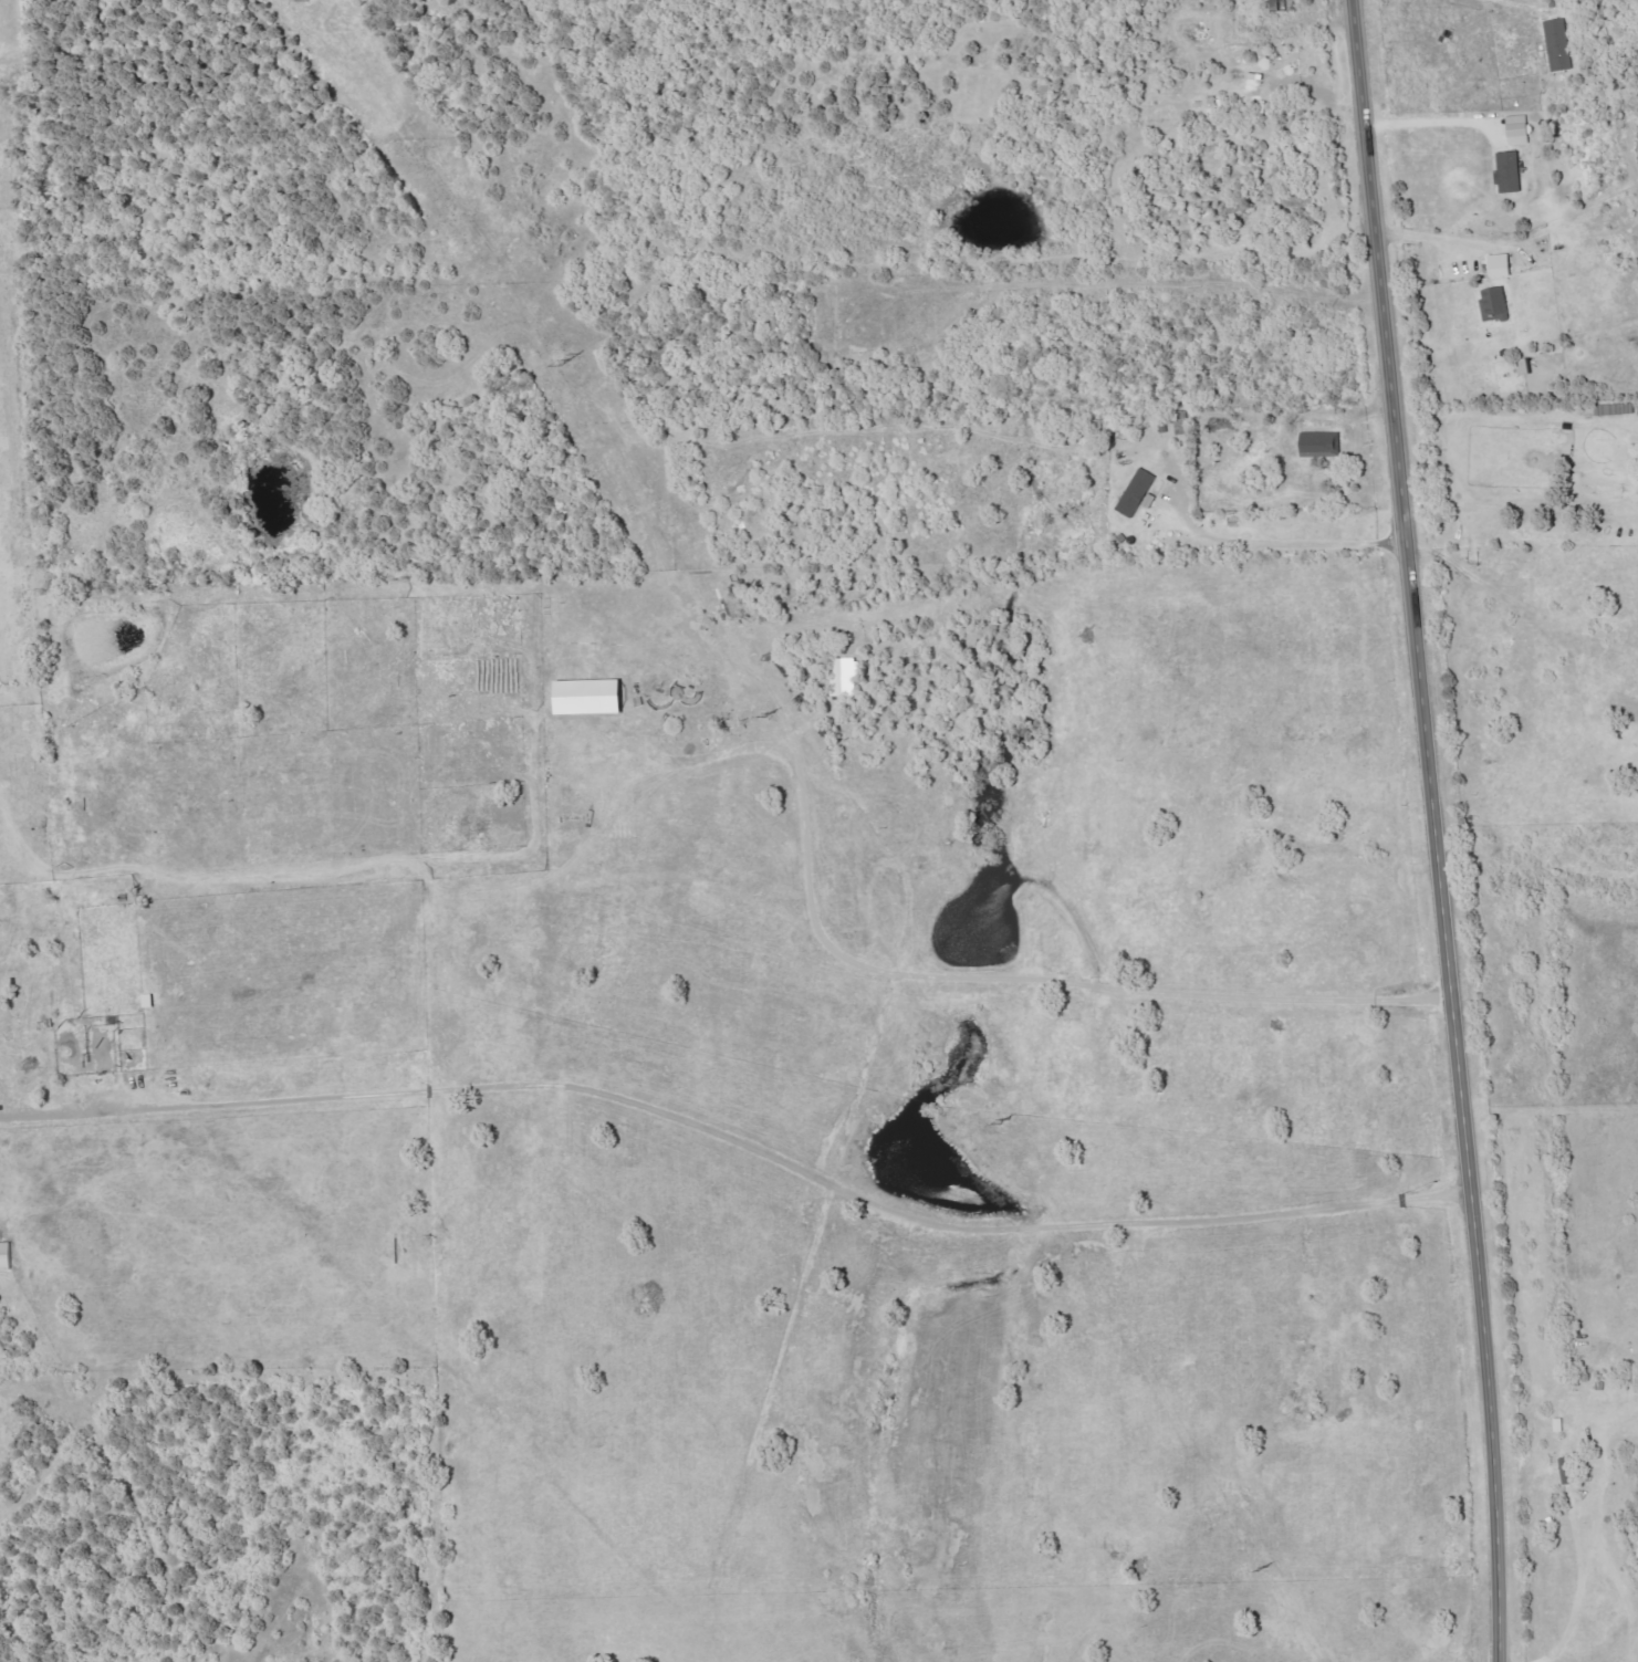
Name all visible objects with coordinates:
road: (1509, 1)
building: (1559, 44)
road: (1431, 122)
building: (1519, 129)
building: (1511, 171)
road: (1431, 243)
building: (1501, 264)
building: (1494, 302)
power tower: (568, 358)
building: (1321, 443)
building: (1137, 492)
road: (1520, 514)
road: (1276, 542)
building: (845, 676)
building: (591, 697)
power tower: (769, 711)
road: (1433, 829)
power tower: (1003, 1120)
road: (738, 1139)
building: (6, 1255)
power tower: (1263, 1566)

